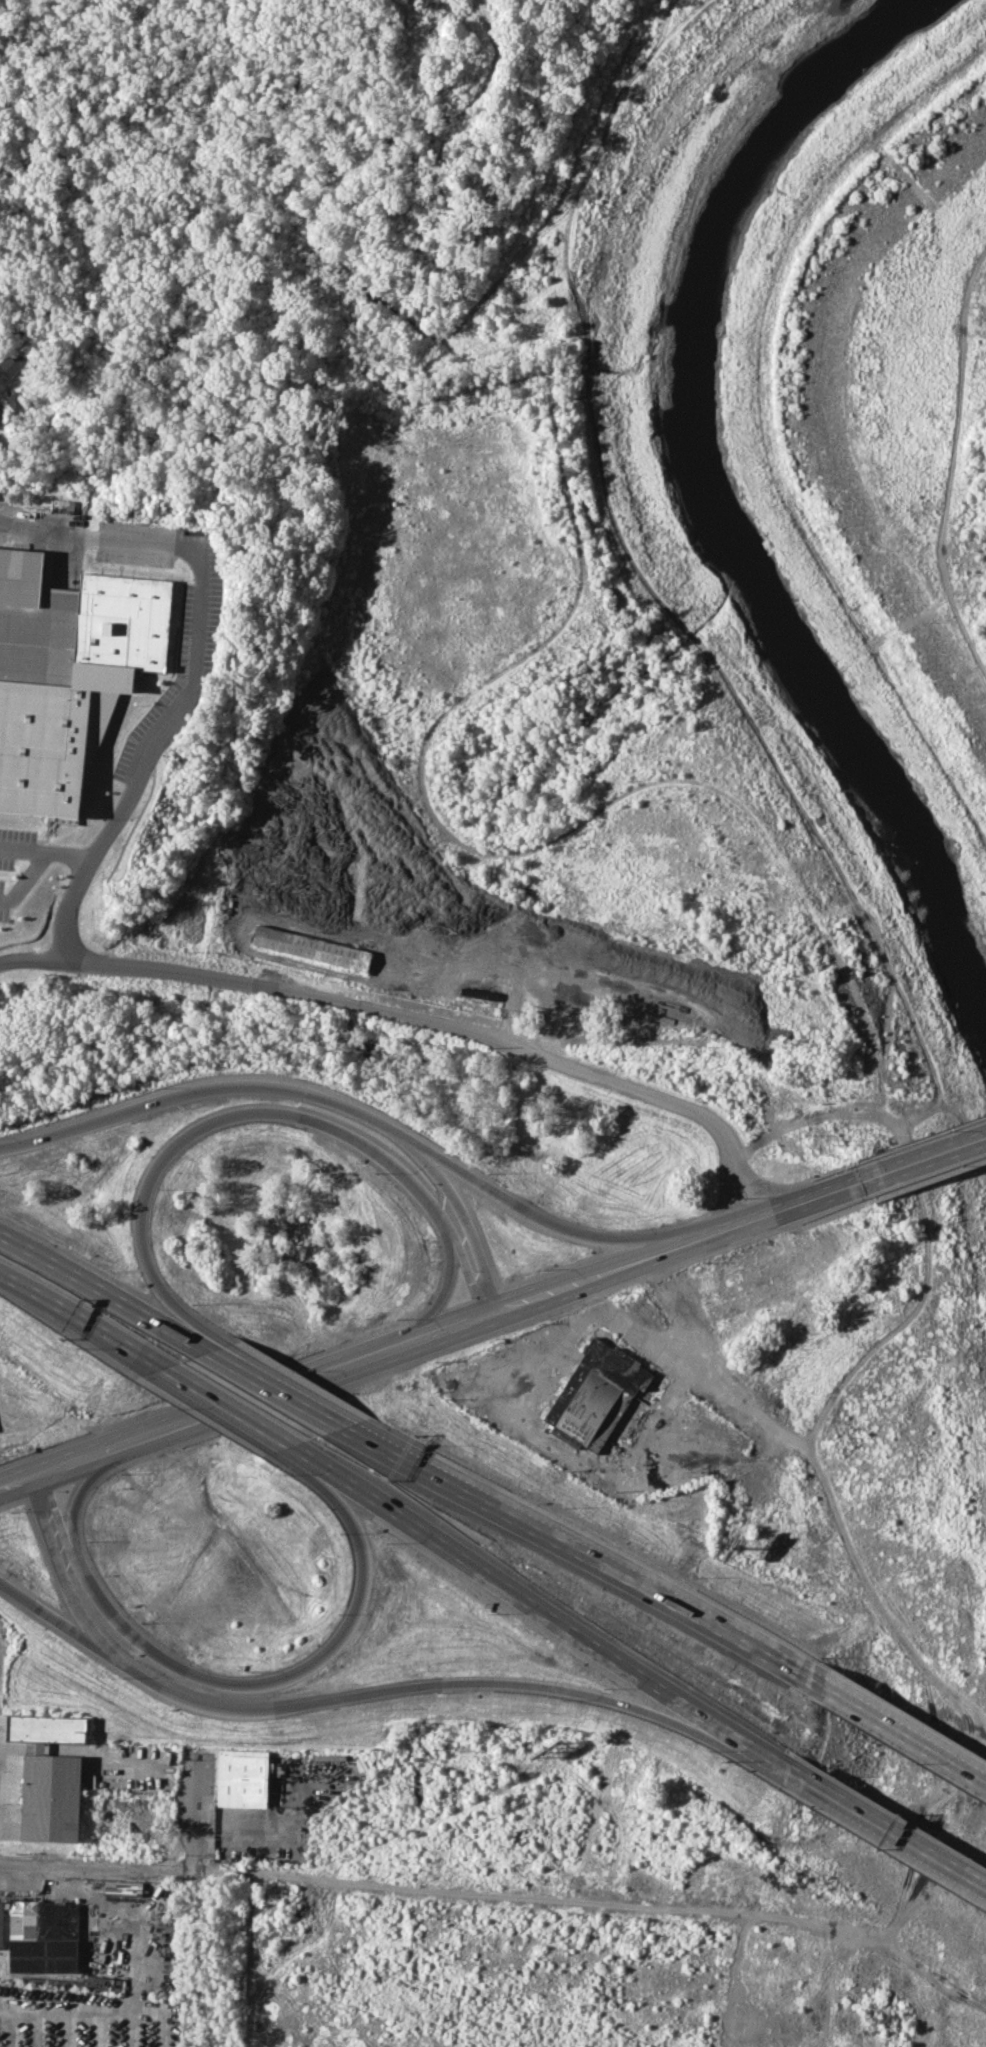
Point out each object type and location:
road: (490, 10)
road: (500, 73)
park: (376, 227)
building: (13, 361)
building: (16, 400)
road: (762, 426)
road: (950, 456)
river: (714, 489)
building: (63, 506)
building: (79, 624)
road: (47, 848)
road: (23, 876)
building: (313, 948)
road: (41, 956)
road: (135, 968)
road: (338, 1103)
road: (230, 1114)
road: (932, 1158)
road: (762, 1217)
road: (467, 1227)
road: (468, 1277)
road: (86, 1283)
road: (570, 1288)
road: (442, 1293)
road: (83, 1318)
road: (453, 1329)
road: (191, 1345)
road: (274, 1392)
road: (269, 1394)
building: (599, 1395)
road: (226, 1401)
road: (309, 1452)
road: (62, 1466)
road: (83, 1486)
road: (55, 1508)
road: (579, 1555)
road: (42, 1605)
road: (556, 1614)
road: (270, 1679)
road: (332, 1696)
building: (38, 1728)
road: (903, 1731)
road: (156, 1754)
building: (242, 1778)
building: (51, 1797)
road: (883, 1825)
road: (265, 1827)
road: (369, 1880)
building: (123, 1890)
building: (1, 1923)
building: (43, 1936)
road: (135, 1976)

